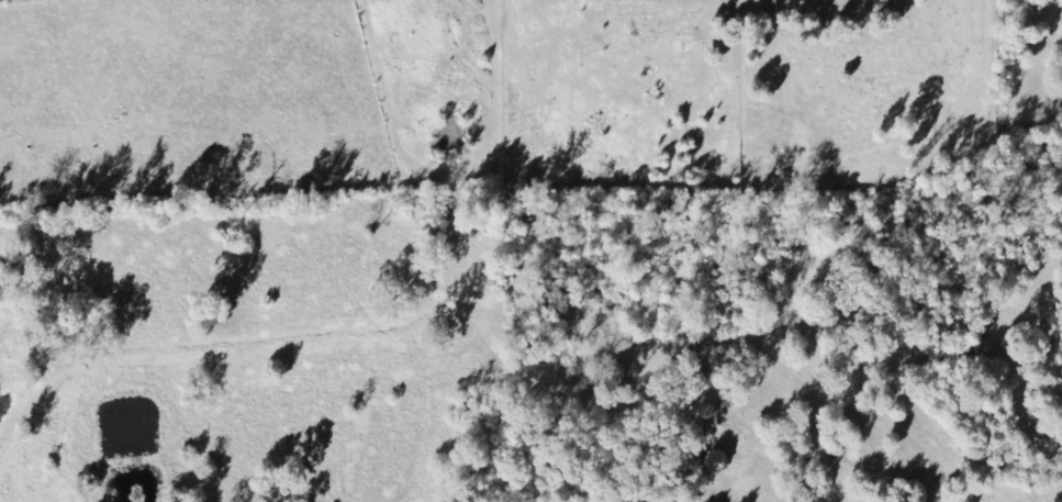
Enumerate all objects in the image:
road: (1004, 24)

